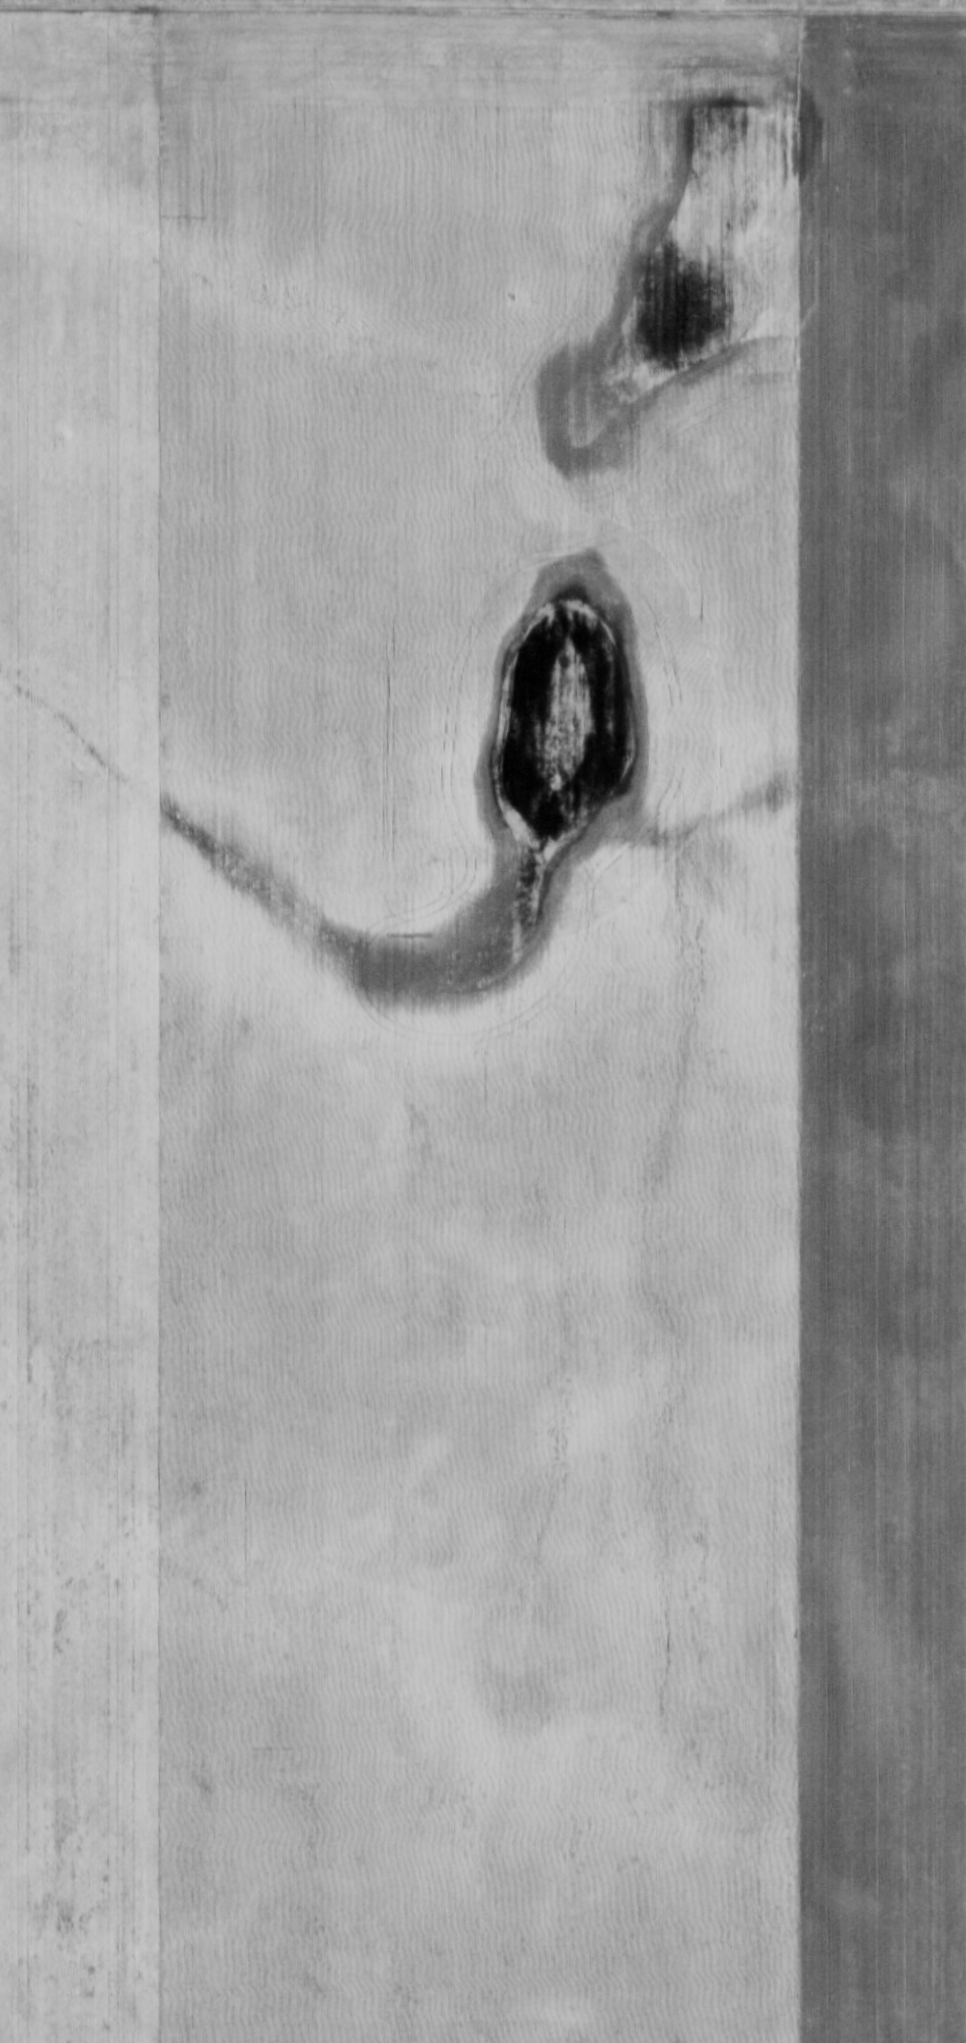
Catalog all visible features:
road: (483, 10)

